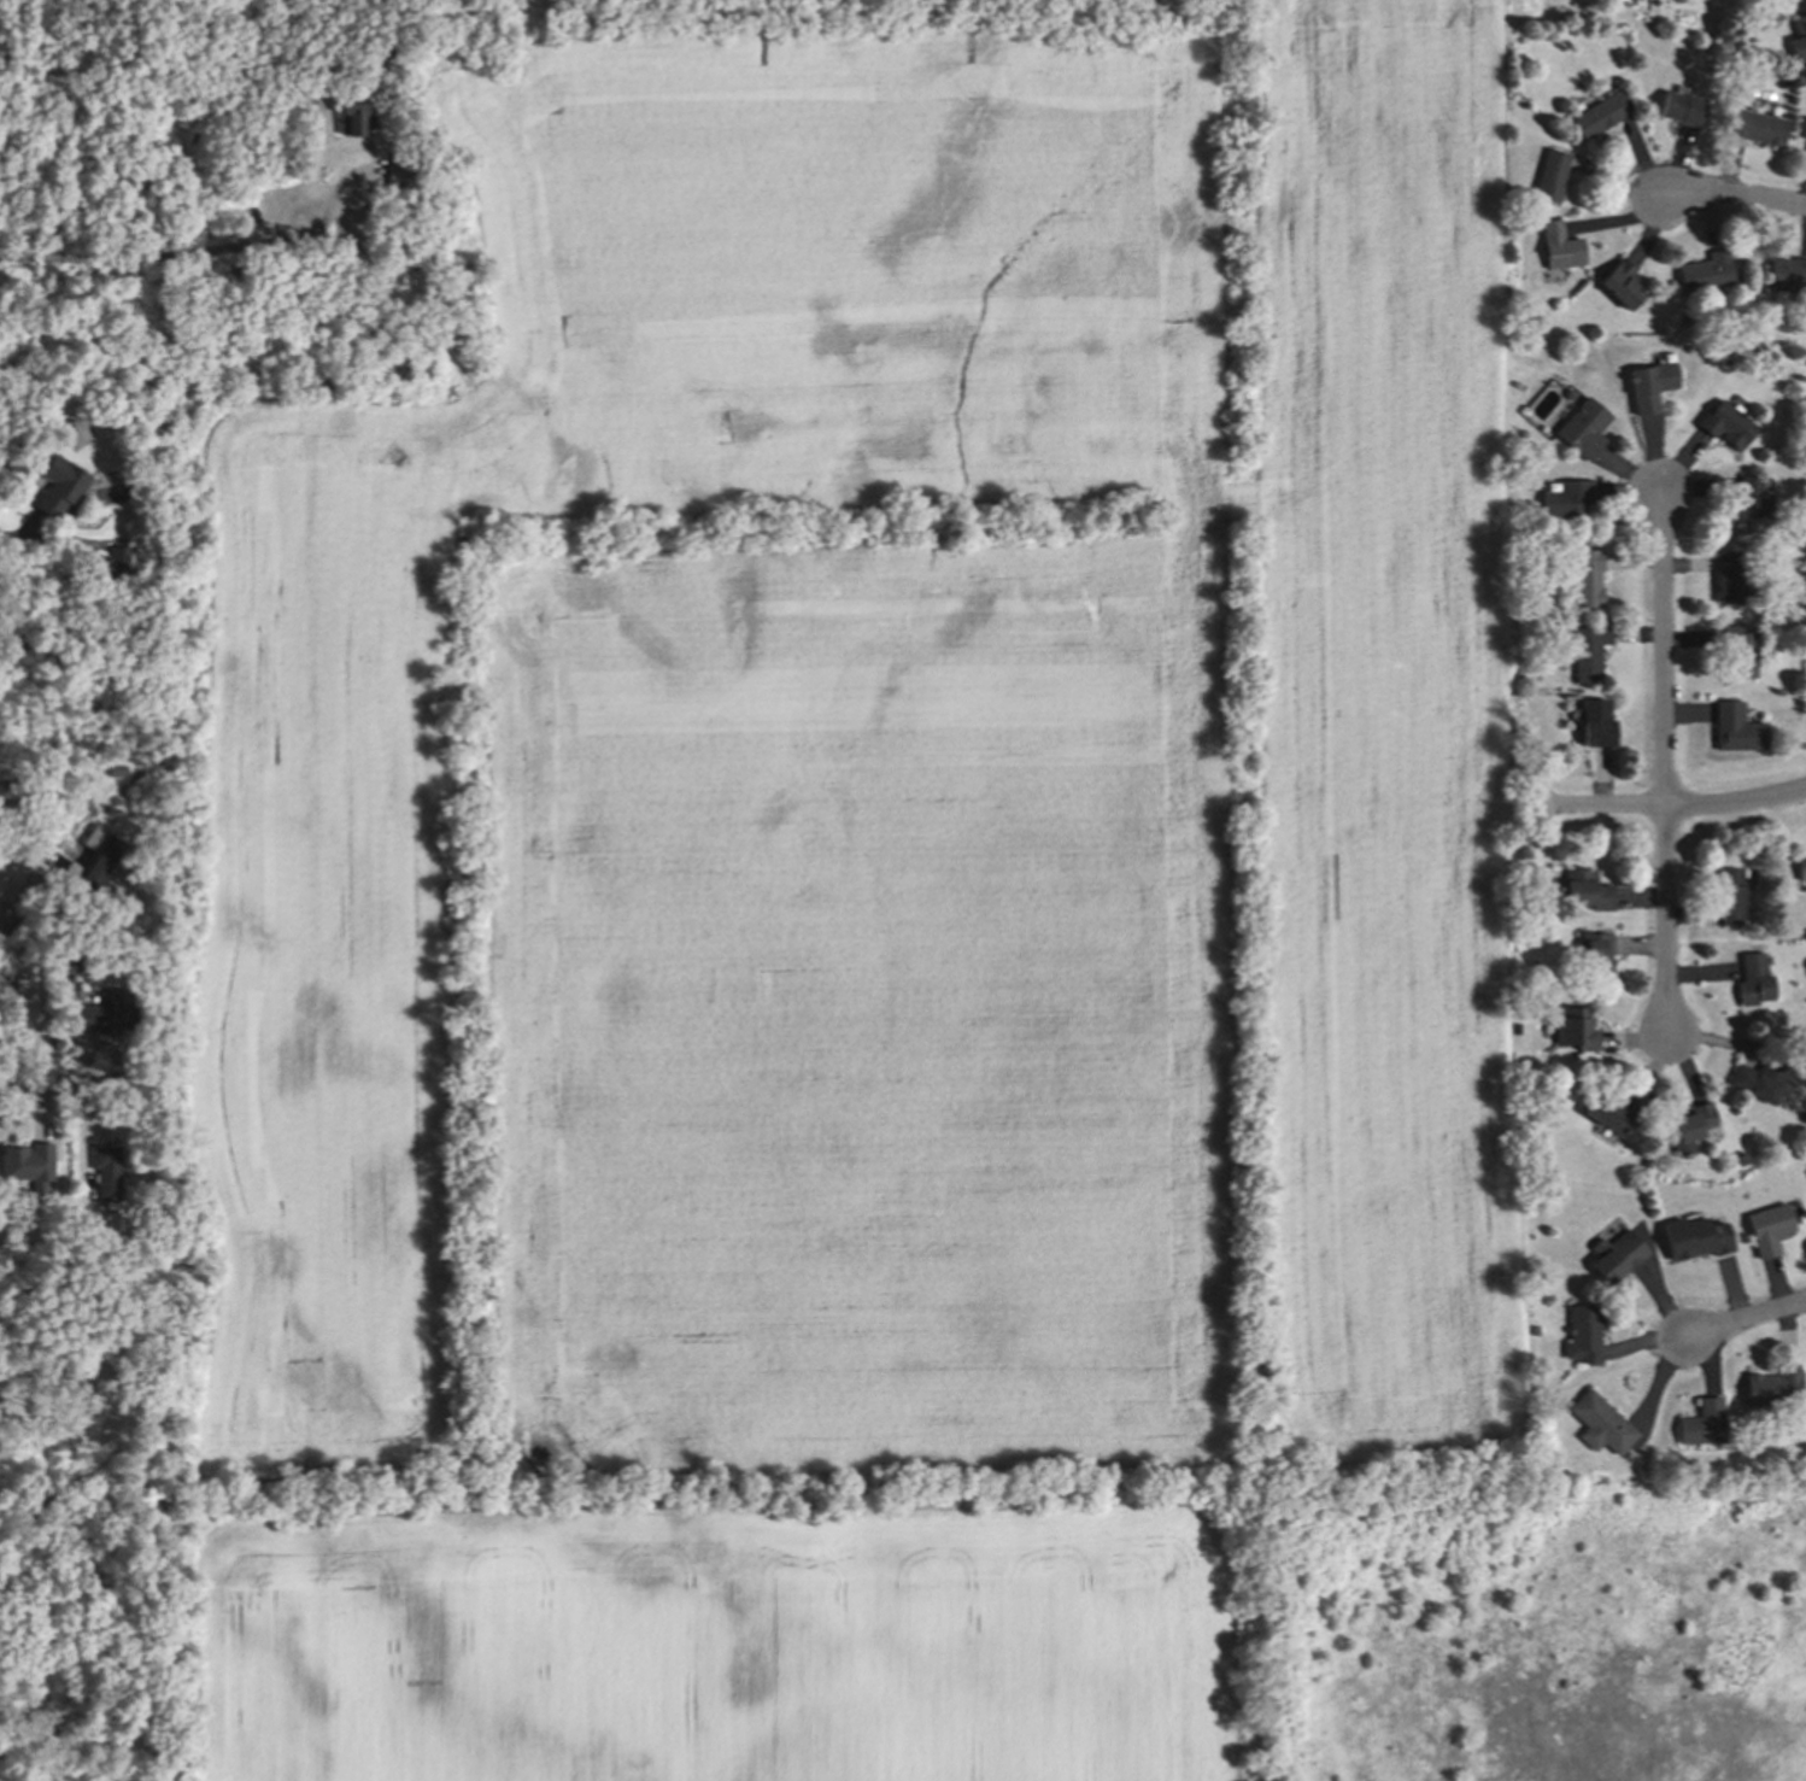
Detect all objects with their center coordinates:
building: (1798, 37)
building: (1717, 81)
building: (1678, 109)
building: (351, 115)
building: (1599, 115)
building: (1754, 127)
building: (1804, 127)
building: (400, 175)
building: (1548, 177)
road: (1736, 197)
building: (1558, 246)
road: (238, 247)
road: (57, 260)
building: (409, 268)
building: (1705, 271)
building: (1784, 273)
building: (1622, 287)
building: (1736, 330)
building: (1725, 359)
building: (1648, 386)
building: (1566, 392)
building: (1728, 424)
building: (1582, 428)
building: (1511, 473)
building: (57, 486)
building: (1565, 498)
building: (1747, 498)
road: (14, 533)
building: (112, 566)
building: (1726, 576)
building: (1584, 579)
building: (1585, 650)
building: (1737, 651)
building: (1594, 723)
building: (1734, 727)
road: (1663, 767)
building: (115, 769)
road: (1684, 809)
road: (11, 860)
building: (96, 863)
building: (1799, 868)
building: (1583, 891)
building: (1726, 896)
crop: (855, 900)
building: (17, 944)
building: (1591, 954)
building: (65, 960)
building: (1752, 979)
building: (5, 982)
building: (105, 1012)
building: (1573, 1030)
building: (1757, 1078)
road: (60, 1083)
building: (1609, 1113)
building: (1689, 1124)
building: (25, 1160)
building: (101, 1170)
building: (1549, 1194)
building: (1767, 1226)
building: (80, 1230)
building: (1690, 1237)
building: (1609, 1253)
road: (1747, 1319)
building: (1532, 1330)
building: (1582, 1331)
building: (1771, 1387)
building: (1701, 1420)
building: (1597, 1423)

